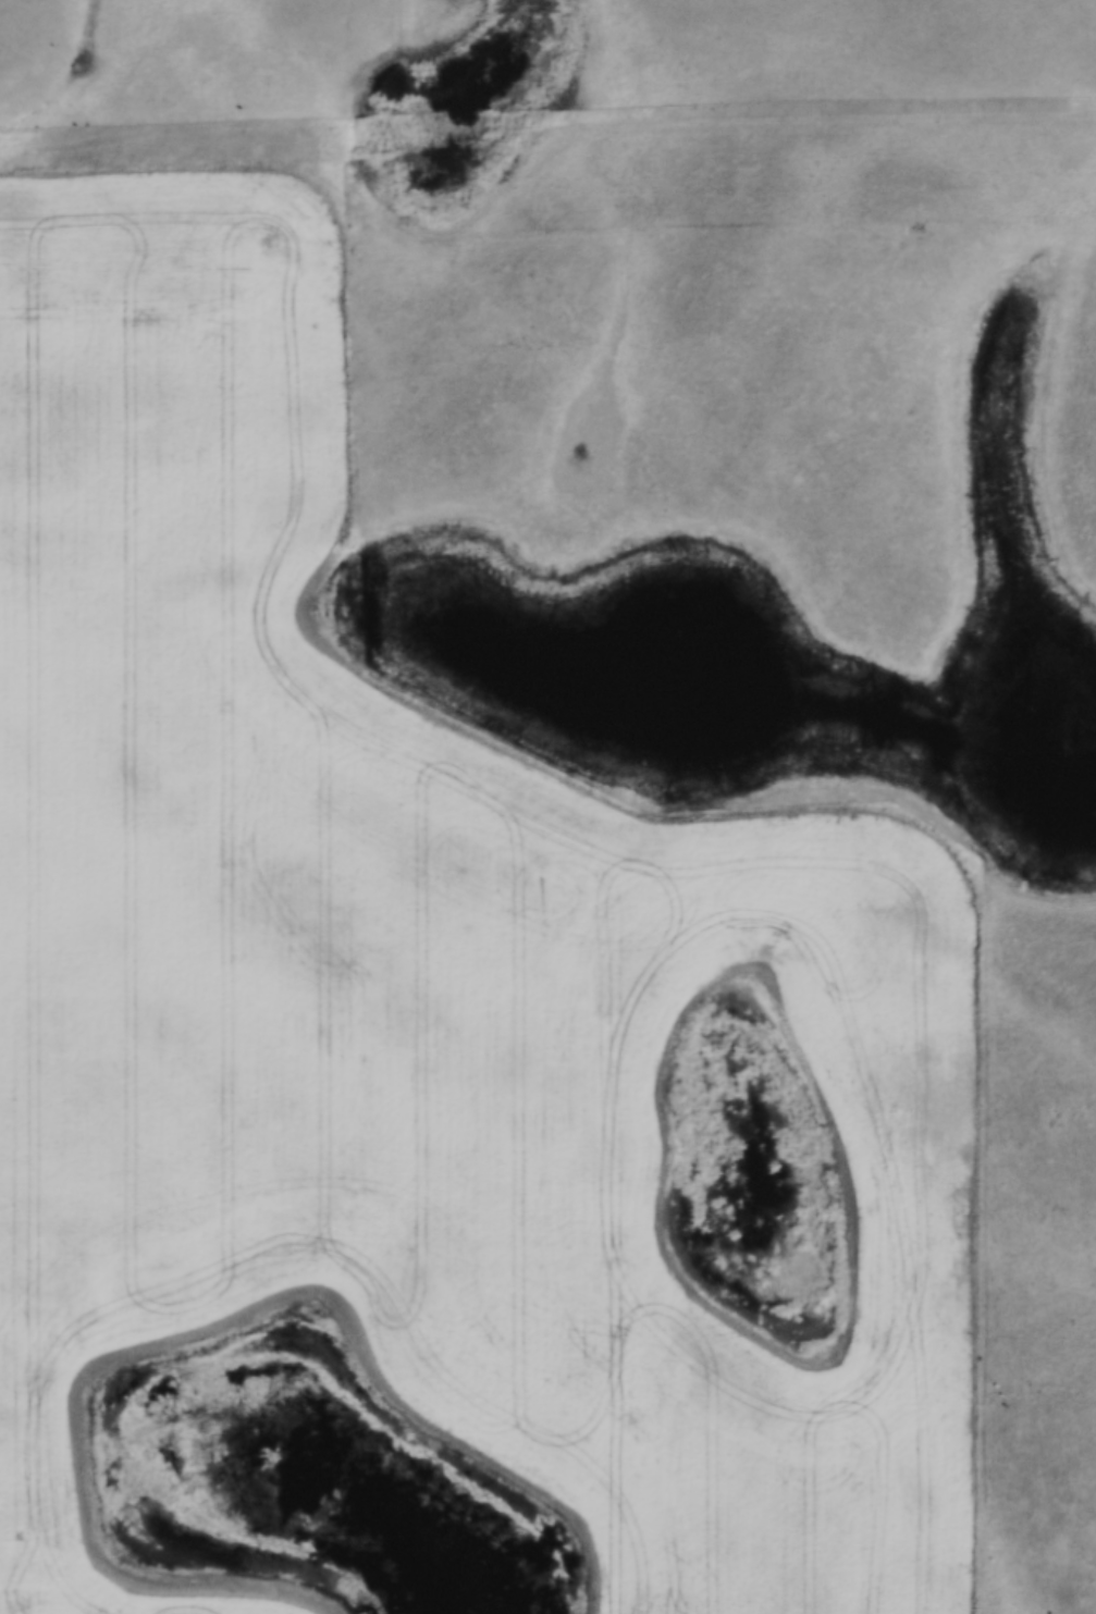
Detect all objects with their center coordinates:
building: (558, 1331)

